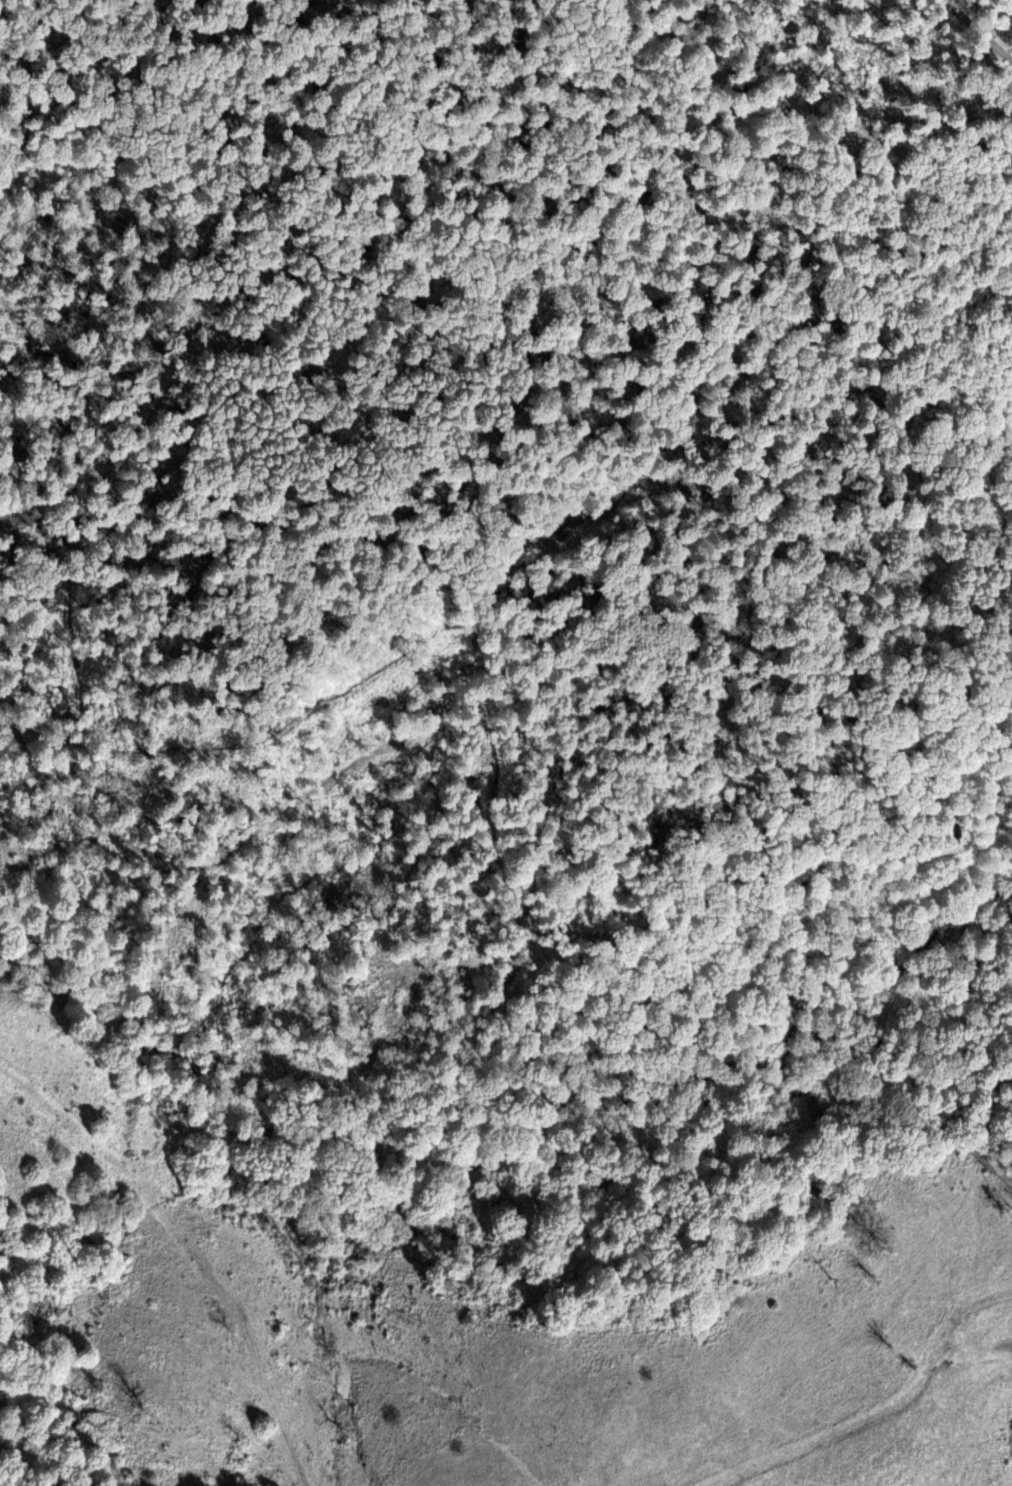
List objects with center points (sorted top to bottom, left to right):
road: (971, 32)

